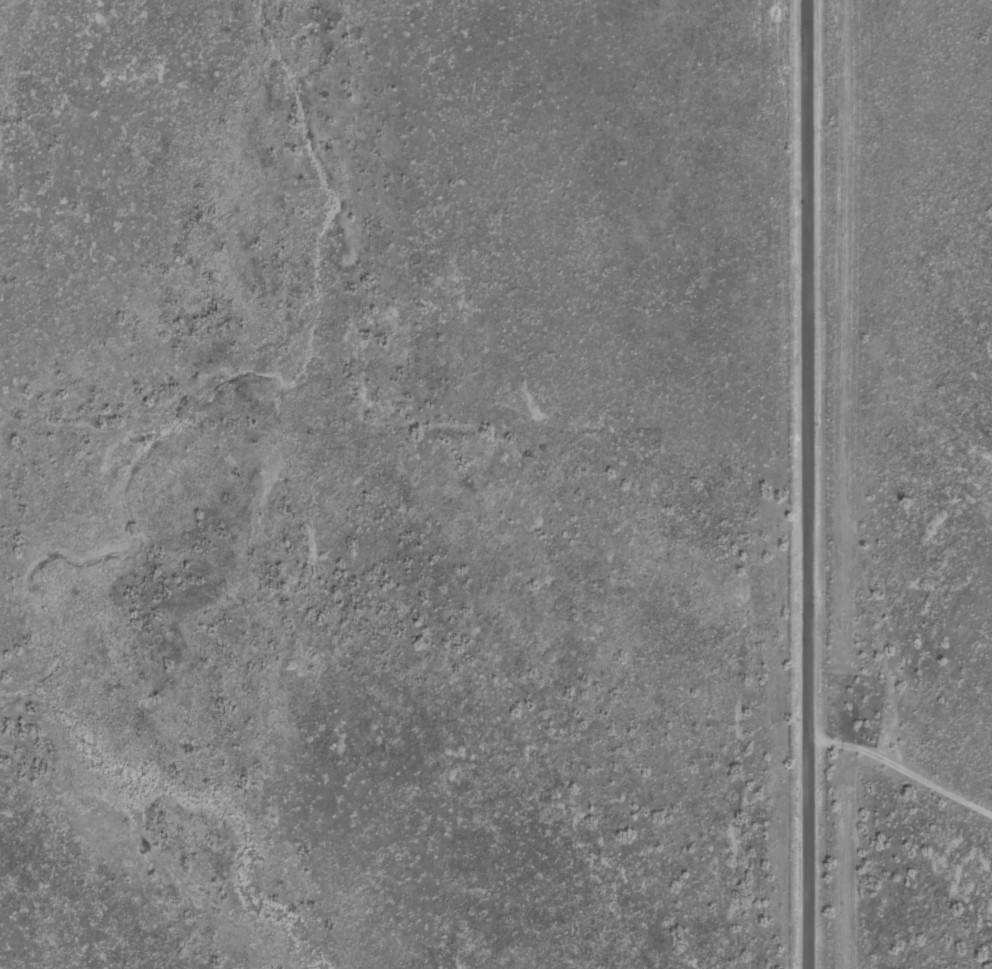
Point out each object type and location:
road: (810, 484)

